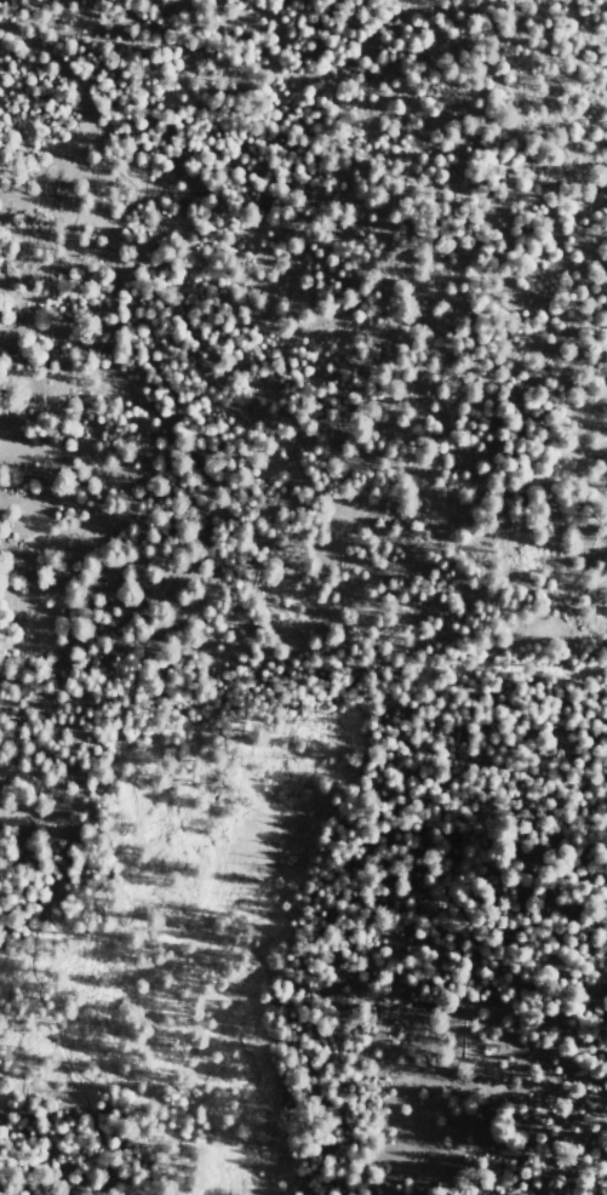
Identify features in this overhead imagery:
road: (178, 591)

